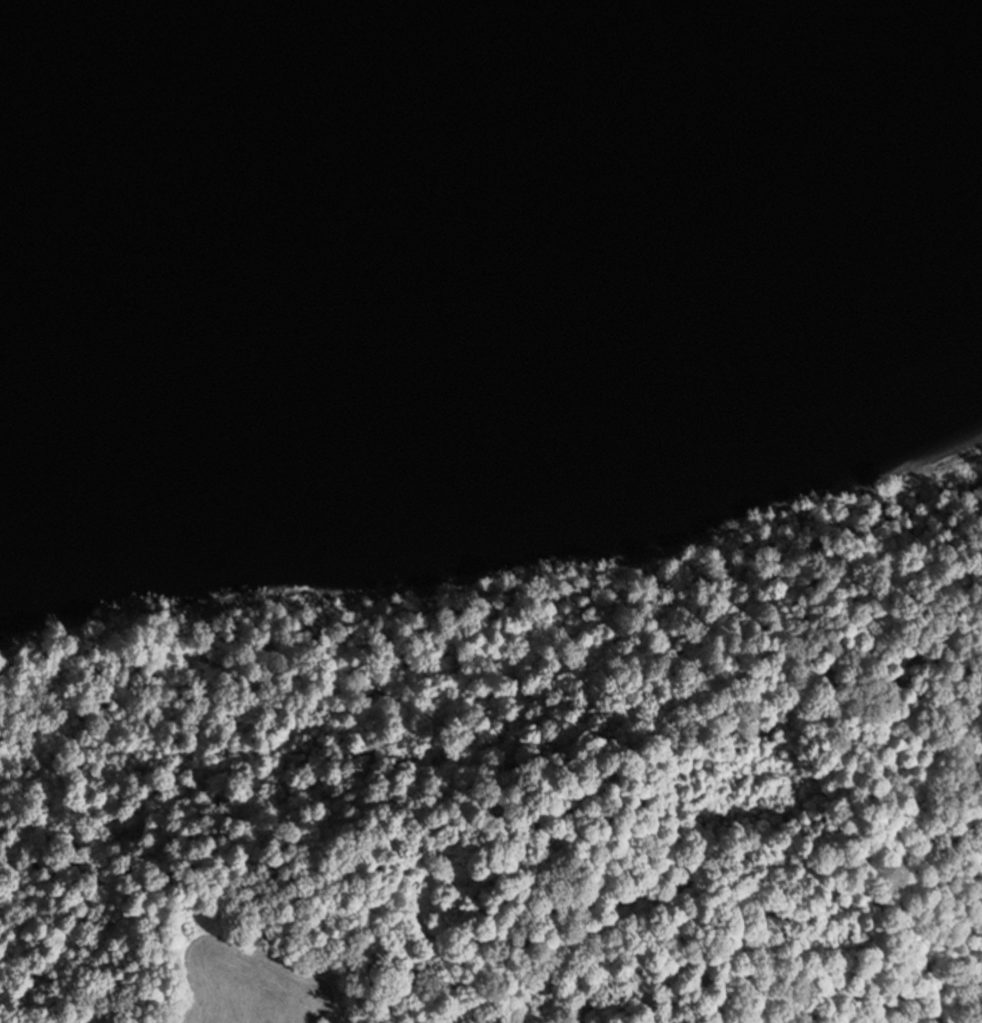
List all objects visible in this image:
park: (36, 860)

